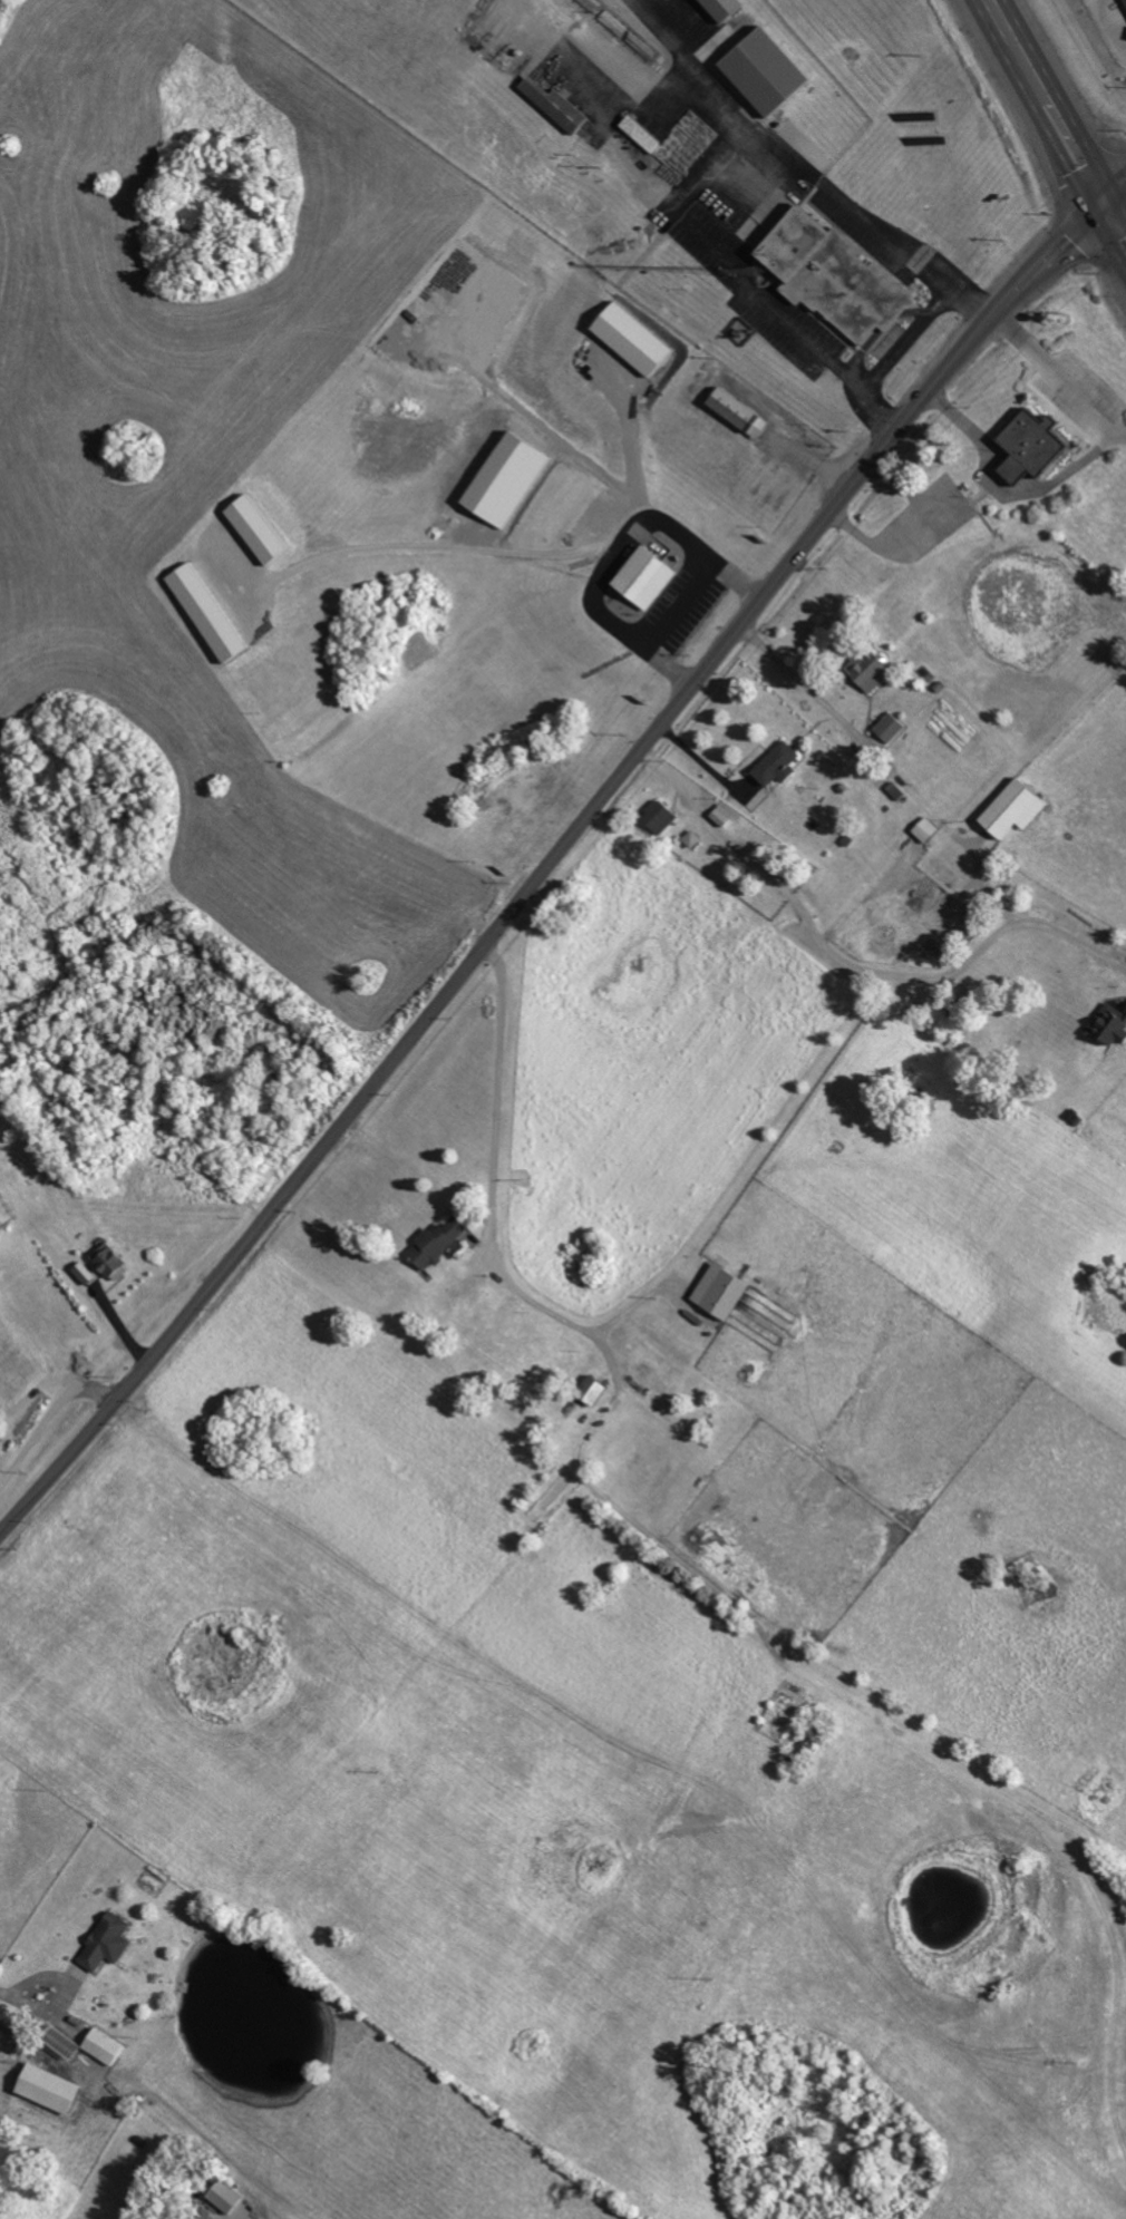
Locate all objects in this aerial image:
building: (728, 8)
building: (771, 74)
road: (1033, 82)
building: (560, 107)
building: (644, 135)
road: (1093, 144)
road: (802, 171)
road: (1093, 187)
road: (1115, 198)
road: (1125, 216)
road: (1069, 225)
road: (1115, 228)
road: (1069, 242)
road: (1079, 253)
building: (838, 279)
road: (753, 284)
road: (906, 338)
building: (635, 340)
road: (1062, 374)
building: (742, 415)
building: (1037, 448)
road: (628, 459)
building: (511, 481)
road: (1007, 490)
road: (912, 528)
building: (262, 532)
road: (429, 547)
road: (611, 549)
building: (649, 580)
road: (673, 603)
building: (211, 614)
building: (871, 670)
building: (893, 728)
road: (933, 761)
road: (702, 763)
building: (780, 765)
building: (1018, 809)
building: (724, 815)
building: (662, 817)
building: (929, 830)
road: (518, 906)
road: (851, 965)
building: (1112, 1025)
road: (493, 1157)
building: (7, 1214)
building: (440, 1243)
building: (114, 1263)
building: (87, 1274)
building: (725, 1292)
building: (595, 1391)
road: (51, 1409)
building: (108, 1944)
road: (21, 1993)
building: (106, 2047)
building: (51, 2090)
building: (227, 2198)

